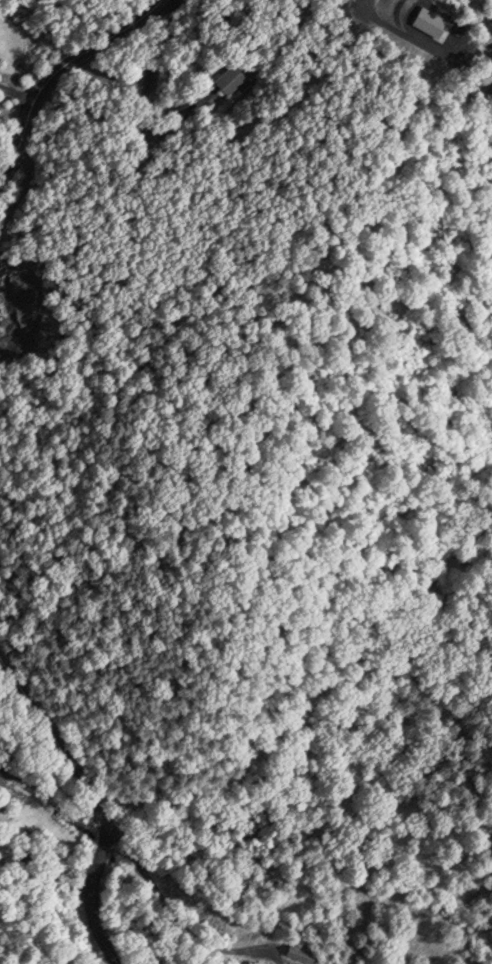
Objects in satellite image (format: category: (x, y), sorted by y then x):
building: (230, 79)
road: (110, 83)
road: (57, 827)
building: (301, 951)

